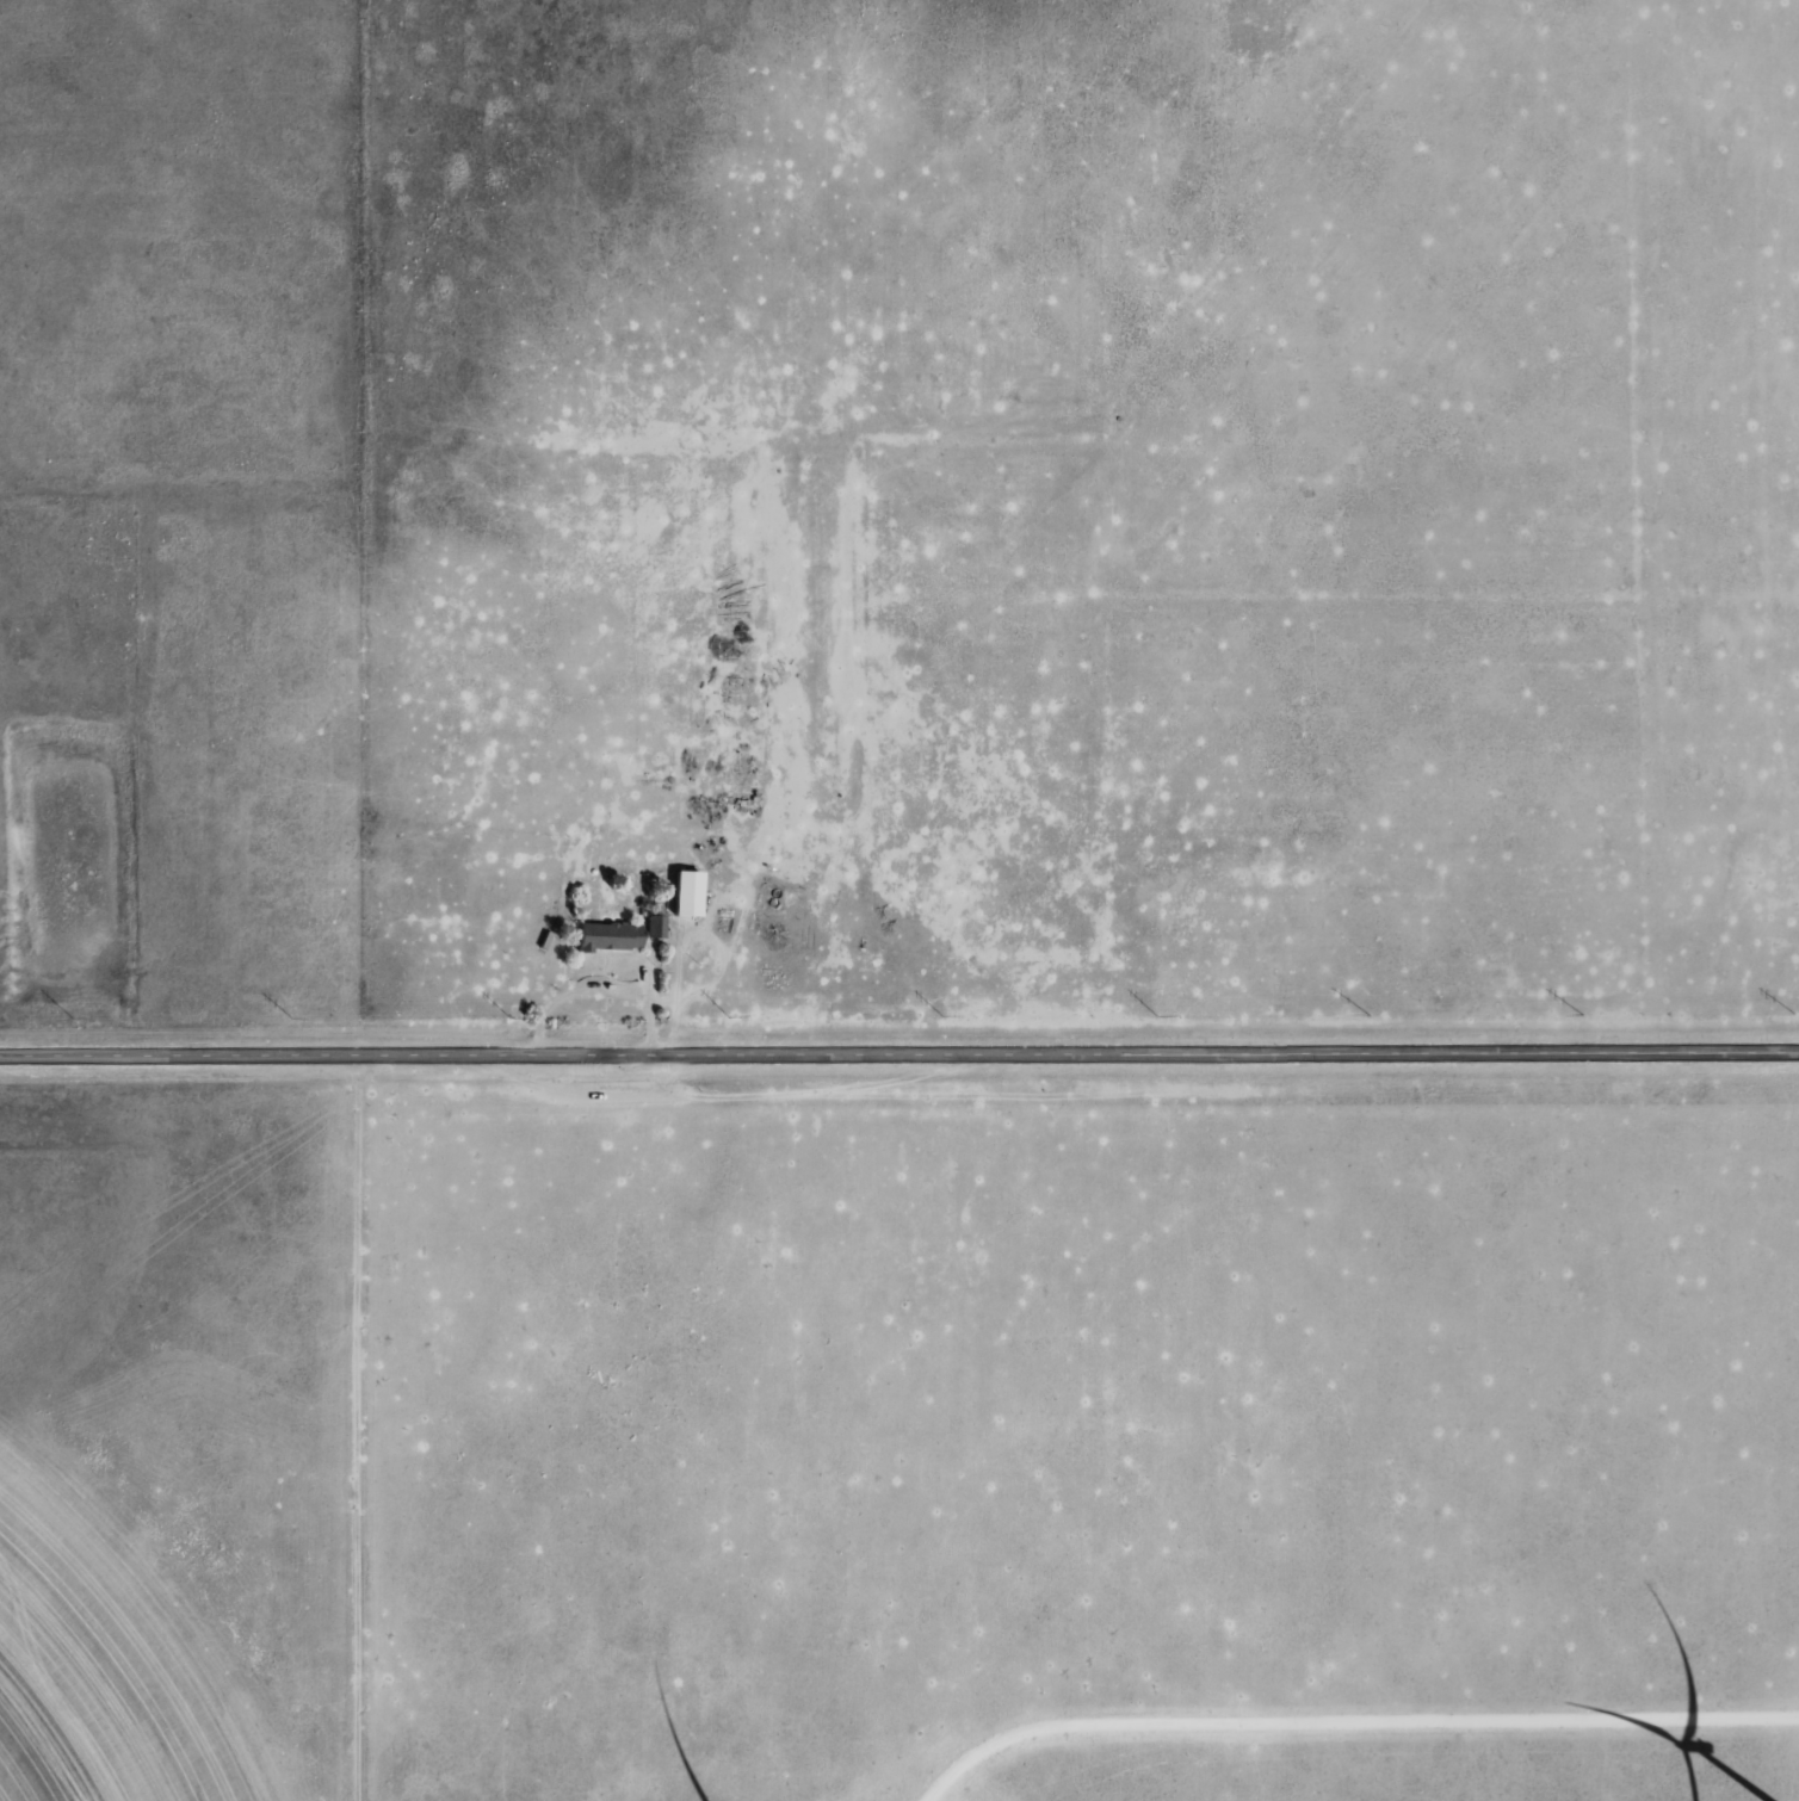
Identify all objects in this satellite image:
building: (659, 927)
building: (612, 935)
road: (573, 992)
road: (650, 1002)
road: (898, 1056)

